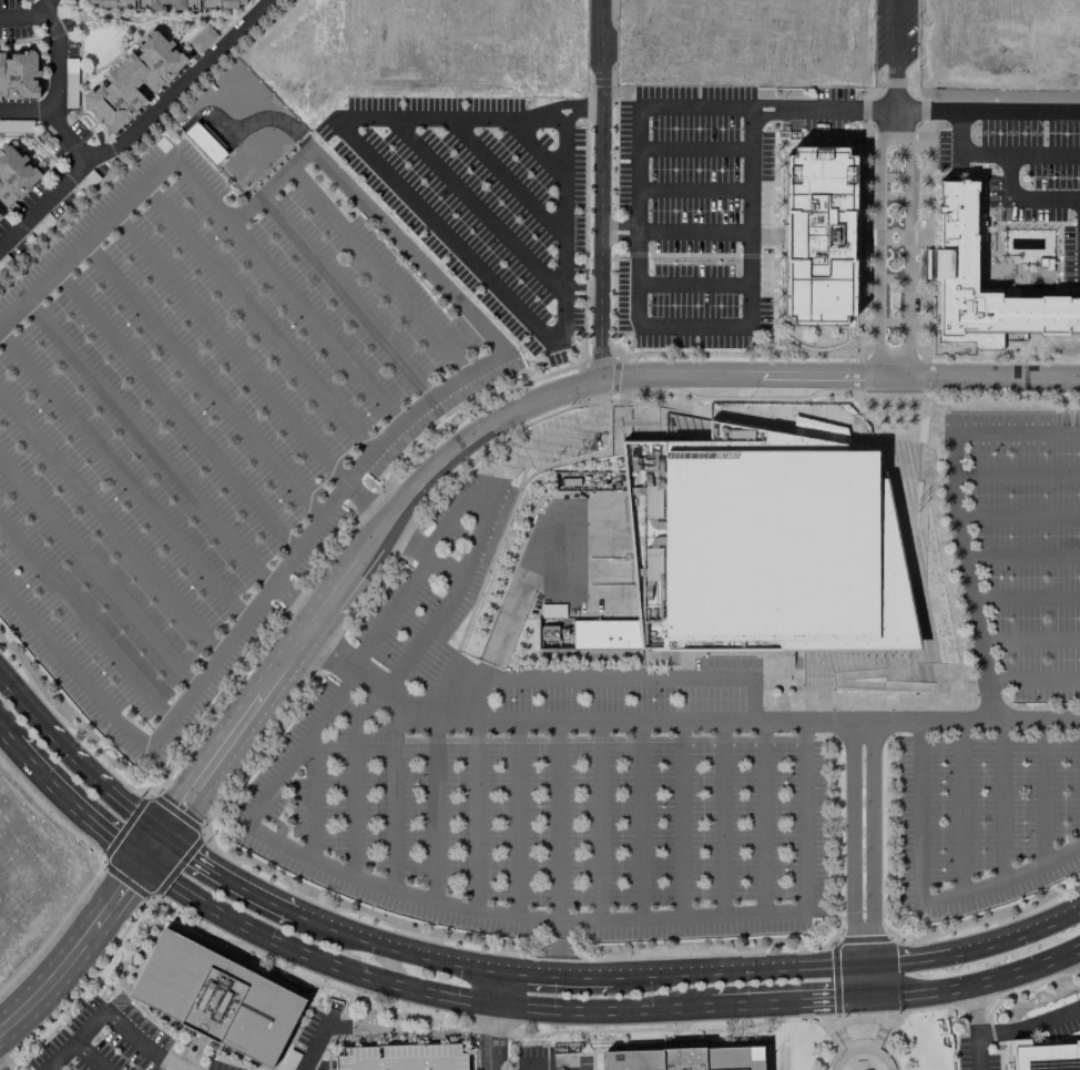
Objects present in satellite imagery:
building: (208, 6)
road: (21, 17)
building: (202, 40)
road: (897, 54)
building: (19, 75)
road: (54, 79)
building: (133, 81)
road: (567, 105)
road: (694, 108)
road: (824, 109)
road: (988, 110)
road: (438, 119)
road: (136, 129)
road: (964, 129)
road: (65, 136)
road: (537, 150)
road: (694, 150)
road: (1021, 150)
parking lot: (1025, 167)
building: (14, 175)
road: (510, 179)
road: (603, 190)
road: (694, 190)
road: (1022, 192)
road: (480, 207)
road: (638, 213)
road: (750, 215)
building: (0, 216)
road: (564, 224)
road: (620, 225)
building: (965, 232)
road: (694, 233)
building: (819, 236)
road: (451, 237)
road: (621, 242)
road: (880, 243)
road: (907, 244)
road: (412, 255)
road: (378, 272)
road: (694, 285)
road: (347, 296)
road: (257, 319)
road: (691, 326)
road: (333, 343)
road: (230, 348)
road: (893, 358)
road: (202, 379)
road: (905, 404)
road: (519, 407)
road: (175, 410)
road: (880, 416)
road: (954, 417)
road: (760, 419)
road: (930, 421)
road: (1017, 431)
road: (642, 432)
road: (147, 442)
road: (903, 459)
road: (908, 460)
road: (1017, 475)
road: (123, 477)
road: (465, 505)
road: (1017, 516)
road: (920, 519)
road: (110, 523)
building: (757, 547)
stadium: (757, 547)
road: (421, 551)
road: (532, 557)
road: (1020, 557)
road: (98, 572)
road: (913, 572)
road: (965, 575)
road: (946, 577)
road: (454, 591)
road: (1025, 599)
road: (84, 621)
building: (553, 628)
road: (1028, 641)
road: (786, 651)
road: (797, 653)
road: (748, 654)
road: (845, 654)
road: (650, 655)
road: (887, 659)
road: (948, 672)
road: (368, 677)
road: (584, 677)
road: (82, 681)
road: (1032, 681)
road: (854, 683)
road: (816, 692)
road: (875, 695)
road: (753, 699)
road: (916, 720)
road: (594, 722)
road: (8, 737)
road: (633, 738)
road: (303, 746)
road: (77, 757)
road: (354, 777)
road: (1045, 791)
road: (149, 792)
road: (395, 794)
road: (312, 797)
road: (1002, 799)
road: (961, 806)
road: (77, 808)
road: (436, 809)
road: (919, 809)
road: (804, 815)
road: (476, 816)
road: (763, 816)
road: (721, 818)
road: (516, 819)
road: (679, 819)
road: (599, 821)
road: (639, 821)
road: (557, 822)
road: (850, 842)
road: (874, 842)
road: (225, 879)
road: (1001, 882)
road: (517, 916)
road: (85, 940)
road: (395, 947)
road: (558, 947)
road: (849, 965)
road: (553, 975)
road: (101, 979)
road: (875, 982)
road: (980, 985)
road: (495, 987)
road: (410, 989)
building: (216, 998)
road: (791, 1005)
road: (859, 1015)
road: (882, 1020)
road: (898, 1021)
road: (837, 1023)
road: (1027, 1023)
road: (971, 1028)
road: (501, 1036)
road: (489, 1037)
road: (75, 1040)
park: (867, 1040)
road: (140, 1043)
road: (316, 1044)
road: (876, 1046)
road: (681, 1047)
road: (846, 1047)
road: (186, 1048)
fountain: (192, 1048)
road: (848, 1052)
road: (182, 1054)
road: (89, 1056)
building: (1043, 1056)
building: (401, 1057)
parking garage: (401, 1057)
road: (882, 1058)
building: (686, 1060)
road: (171, 1062)
road: (549, 1062)

